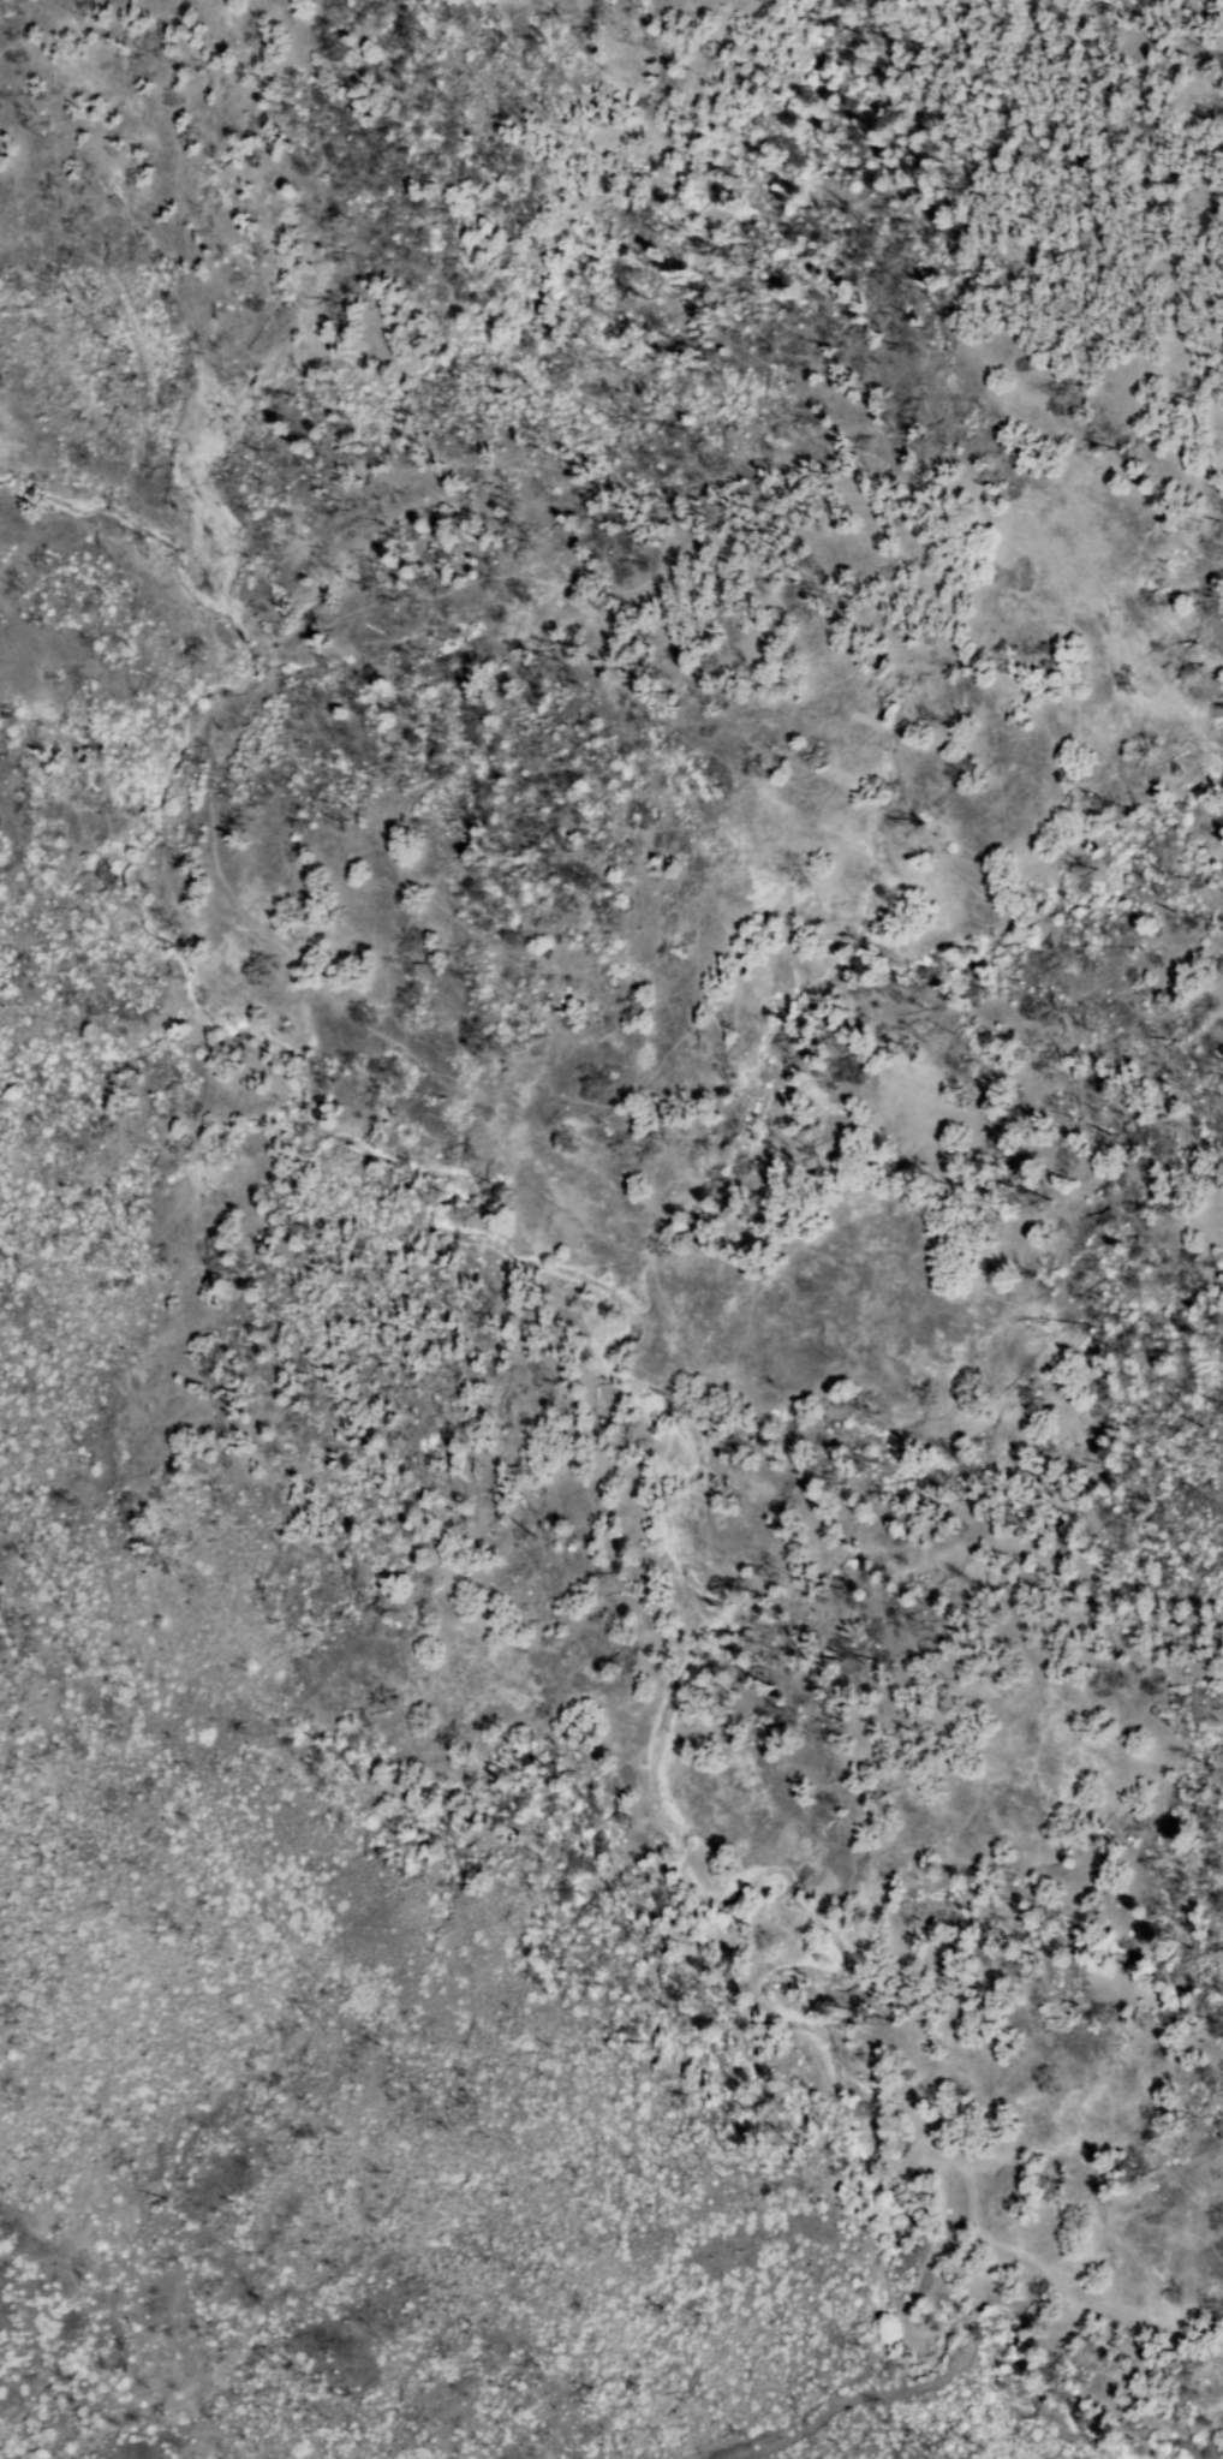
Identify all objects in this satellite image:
road: (871, 2395)

